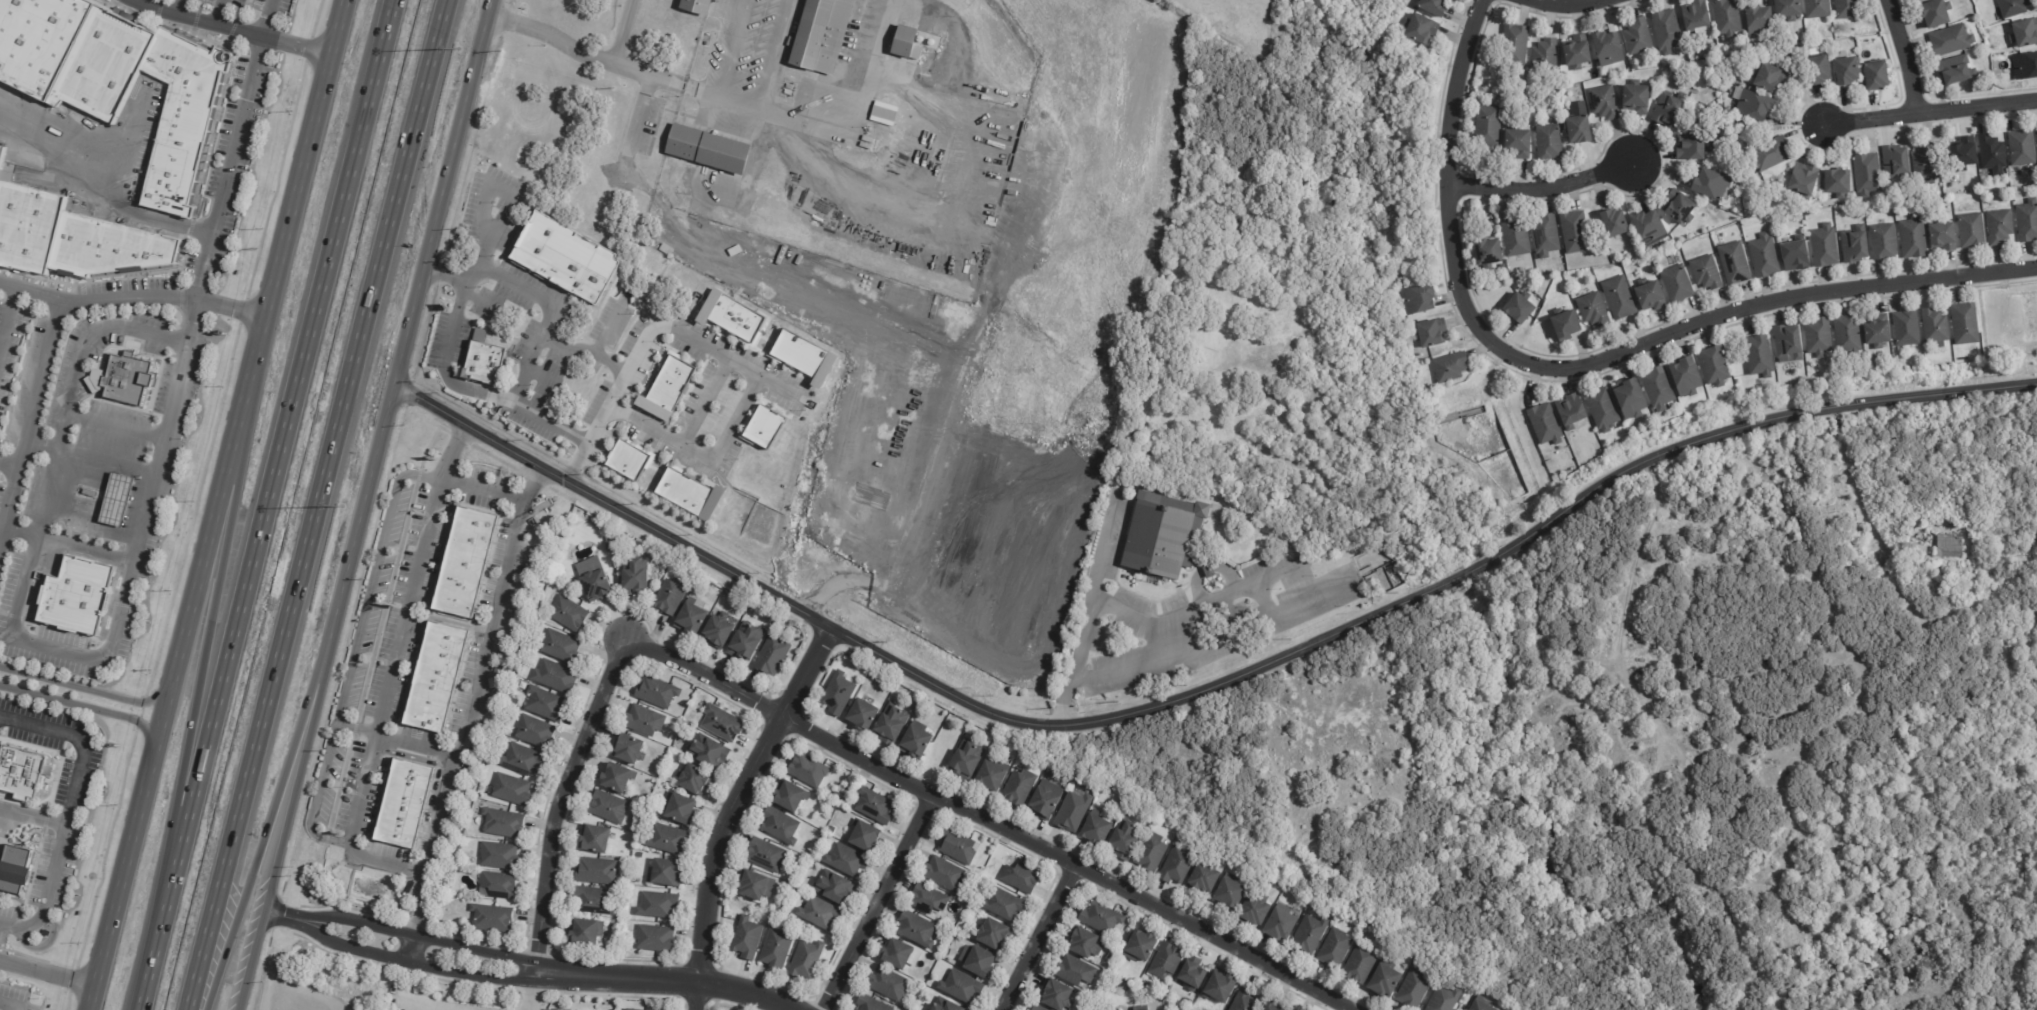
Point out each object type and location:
building: (1917, 0)
building: (1920, 0)
road: (141, 3)
road: (1557, 4)
building: (694, 6)
building: (1434, 7)
building: (2013, 7)
road: (185, 9)
building: (1788, 9)
building: (1817, 9)
building: (1848, 9)
road: (224, 14)
building: (1937, 14)
building: (1696, 15)
building: (1728, 18)
road: (266, 20)
building: (1760, 22)
building: (1420, 29)
road: (230, 31)
building: (1667, 31)
road: (620, 32)
building: (810, 34)
building: (2026, 35)
building: (1638, 37)
building: (1951, 41)
building: (905, 44)
building: (1515, 45)
road: (731, 49)
building: (1608, 49)
building: (1578, 53)
road: (772, 55)
building: (1546, 57)
road: (1906, 58)
building: (2025, 66)
road: (871, 68)
building: (1818, 70)
building: (1956, 70)
building: (1848, 72)
building: (1877, 76)
building: (1769, 78)
building: (120, 81)
building: (1633, 96)
building: (1600, 100)
building: (1754, 106)
building: (1665, 107)
road: (747, 108)
building: (883, 113)
road: (1930, 115)
building: (1484, 123)
building: (1576, 128)
building: (2036, 131)
building: (1546, 140)
road: (23, 142)
building: (1516, 142)
building: (1688, 146)
building: (2022, 148)
building: (706, 150)
building: (1, 152)
building: (1965, 154)
building: (1768, 155)
building: (1993, 155)
building: (1896, 162)
building: (1926, 162)
building: (1867, 175)
road: (303, 176)
building: (683, 176)
building: (1804, 181)
building: (1708, 182)
building: (1838, 183)
building: (677, 190)
road: (1543, 191)
road: (95, 193)
building: (1676, 206)
building: (2028, 221)
building: (1614, 224)
building: (1646, 227)
building: (2000, 227)
building: (1572, 231)
building: (1972, 231)
building: (1541, 234)
building: (1513, 237)
building: (1944, 237)
building: (72, 238)
building: (1914, 238)
building: (1884, 242)
building: (1825, 247)
building: (1855, 247)
building: (1485, 252)
building: (1761, 255)
building: (1791, 255)
building: (566, 258)
building: (1731, 262)
building: (1702, 272)
road: (446, 276)
building: (1674, 282)
road: (30, 294)
road: (820, 294)
building: (1647, 294)
building: (1616, 297)
road: (476, 301)
building: (1418, 301)
road: (69, 302)
building: (1519, 309)
building: (1593, 311)
road: (416, 312)
road: (547, 316)
building: (731, 316)
road: (7, 318)
building: (1965, 325)
building: (1566, 326)
building: (1936, 328)
road: (451, 329)
building: (1906, 329)
road: (602, 332)
building: (1431, 334)
building: (1848, 335)
building: (1878, 335)
building: (1819, 338)
road: (700, 342)
building: (1788, 343)
road: (549, 345)
road: (560, 352)
building: (804, 357)
building: (1759, 357)
building: (484, 363)
road: (607, 363)
road: (1587, 364)
building: (1715, 367)
building: (1450, 368)
building: (125, 378)
building: (1686, 378)
road: (542, 385)
building: (667, 388)
road: (614, 389)
building: (1658, 389)
building: (1631, 401)
building: (1603, 410)
building: (1572, 412)
road: (1759, 424)
road: (114, 425)
building: (1545, 425)
building: (763, 427)
road: (592, 430)
road: (683, 433)
road: (722, 439)
road: (90, 457)
building: (629, 461)
road: (482, 485)
building: (92, 493)
building: (689, 493)
road: (1856, 495)
road: (8, 499)
building: (122, 499)
road: (264, 504)
road: (314, 504)
building: (1932, 530)
building: (1164, 538)
road: (67, 543)
building: (608, 543)
building: (1950, 548)
building: (464, 561)
road: (1463, 572)
building: (631, 577)
building: (594, 582)
road: (1093, 586)
road: (1628, 592)
building: (79, 595)
road: (122, 596)
building: (669, 596)
road: (1262, 599)
road: (1195, 609)
building: (569, 614)
building: (689, 618)
building: (768, 621)
building: (717, 630)
building: (745, 642)
building: (559, 646)
road: (1193, 648)
road: (352, 651)
road: (894, 654)
building: (772, 656)
building: (436, 676)
road: (477, 676)
building: (554, 676)
road: (169, 680)
road: (197, 681)
road: (84, 690)
building: (656, 693)
building: (837, 694)
road: (382, 696)
building: (543, 704)
building: (914, 706)
road: (87, 709)
building: (862, 715)
building: (644, 720)
building: (721, 723)
building: (890, 724)
building: (534, 732)
building: (916, 742)
building: (1582, 744)
road: (412, 745)
building: (628, 750)
building: (1571, 750)
building: (707, 752)
building: (521, 759)
building: (965, 761)
building: (807, 771)
building: (22, 772)
building: (990, 775)
building: (618, 777)
building: (694, 780)
building: (1019, 787)
building: (511, 789)
building: (1103, 792)
building: (791, 796)
road: (563, 800)
building: (1044, 800)
building: (405, 804)
building: (873, 805)
road: (739, 807)
building: (608, 808)
building: (678, 809)
road: (65, 810)
building: (1072, 811)
building: (1149, 816)
road: (31, 817)
road: (267, 817)
road: (285, 817)
road: (990, 820)
building: (502, 823)
building: (780, 827)
building: (832, 830)
building: (1095, 830)
building: (863, 837)
building: (667, 839)
building: (1124, 839)
building: (594, 840)
building: (956, 847)
building: (1151, 853)
building: (764, 855)
building: (497, 856)
building: (641, 856)
building: (846, 861)
building: (811, 865)
building: (1177, 866)
building: (15, 869)
building: (596, 871)
building: (664, 873)
building: (944, 875)
building: (1020, 878)
building: (1204, 878)
building: (496, 886)
building: (756, 886)
building: (789, 887)
building: (833, 888)
building: (1229, 893)
building: (927, 899)
building: (592, 900)
building: (802, 900)
road: (875, 902)
building: (656, 905)
building: (1002, 905)
building: (1253, 911)
building: (818, 913)
building: (489, 918)
road: (289, 919)
building: (1100, 919)
building: (1280, 923)
building: (916, 930)
building: (584, 932)
road: (429, 935)
building: (993, 935)
building: (1309, 935)
building: (746, 938)
road: (1039, 938)
building: (655, 939)
building: (1085, 944)
building: (1139, 946)
road: (408, 948)
building: (1334, 949)
building: (774, 950)
building: (896, 954)
building: (805, 960)
building: (1165, 961)
building: (979, 962)
building: (1359, 965)
road: (423, 970)
building: (1074, 971)
road: (677, 972)
building: (1192, 974)
road: (45, 976)
building: (1384, 982)
building: (887, 984)
building: (1144, 985)
building: (960, 987)
building: (1219, 987)
building: (1414, 990)
road: (535, 992)
building: (1056, 996)
building: (1445, 999)
building: (1245, 1001)
building: (870, 1004)
road: (4, 1005)
road: (446, 1005)
building: (943, 1005)
building: (1480, 1006)
building: (1272, 1007)
building: (1037, 1008)
building: (553, 1009)
building: (631, 1009)
building: (1113, 1009)
building: (1141, 1009)

